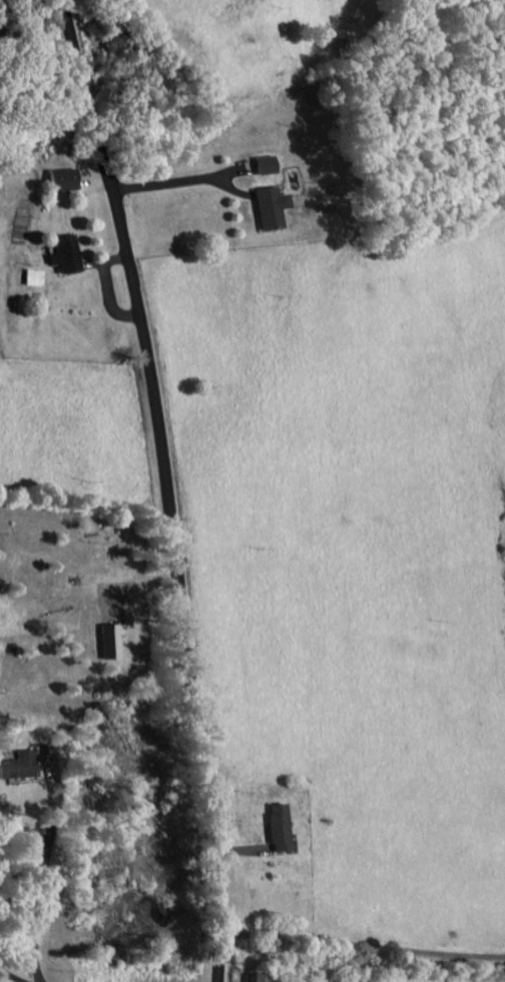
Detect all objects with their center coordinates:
building: (265, 168)
building: (63, 183)
building: (268, 210)
road: (65, 256)
building: (63, 257)
building: (31, 281)
road: (168, 486)
building: (110, 645)
building: (19, 770)
building: (277, 831)
road: (357, 957)
building: (254, 978)

